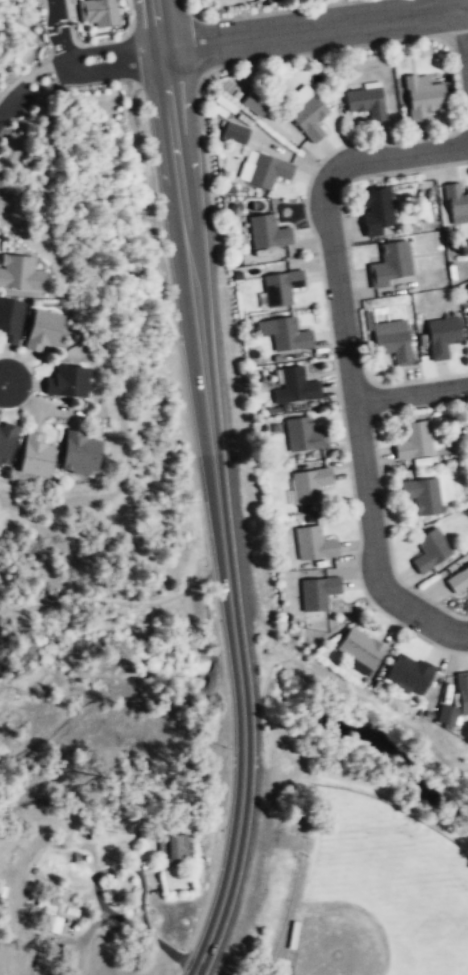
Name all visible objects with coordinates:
building: (268, 0)
building: (98, 12)
road: (464, 24)
road: (157, 25)
road: (314, 29)
road: (58, 32)
road: (72, 62)
road: (163, 67)
building: (423, 96)
building: (367, 102)
building: (255, 104)
building: (309, 116)
building: (236, 133)
building: (268, 171)
building: (455, 198)
road: (180, 202)
building: (375, 209)
building: (267, 232)
building: (388, 262)
building: (23, 273)
building: (281, 288)
building: (11, 319)
building: (42, 332)
building: (285, 333)
building: (441, 336)
building: (391, 340)
road: (98, 341)
road: (346, 360)
road: (3, 381)
building: (71, 381)
building: (296, 386)
road: (411, 394)
road: (206, 411)
building: (304, 435)
building: (412, 440)
building: (8, 442)
building: (83, 452)
building: (38, 456)
building: (310, 484)
building: (421, 494)
building: (314, 543)
building: (429, 549)
building: (458, 580)
building: (318, 593)
road: (121, 602)
building: (358, 648)
building: (408, 673)
building: (462, 691)
building: (446, 715)
road: (245, 740)
building: (171, 845)
building: (50, 922)

